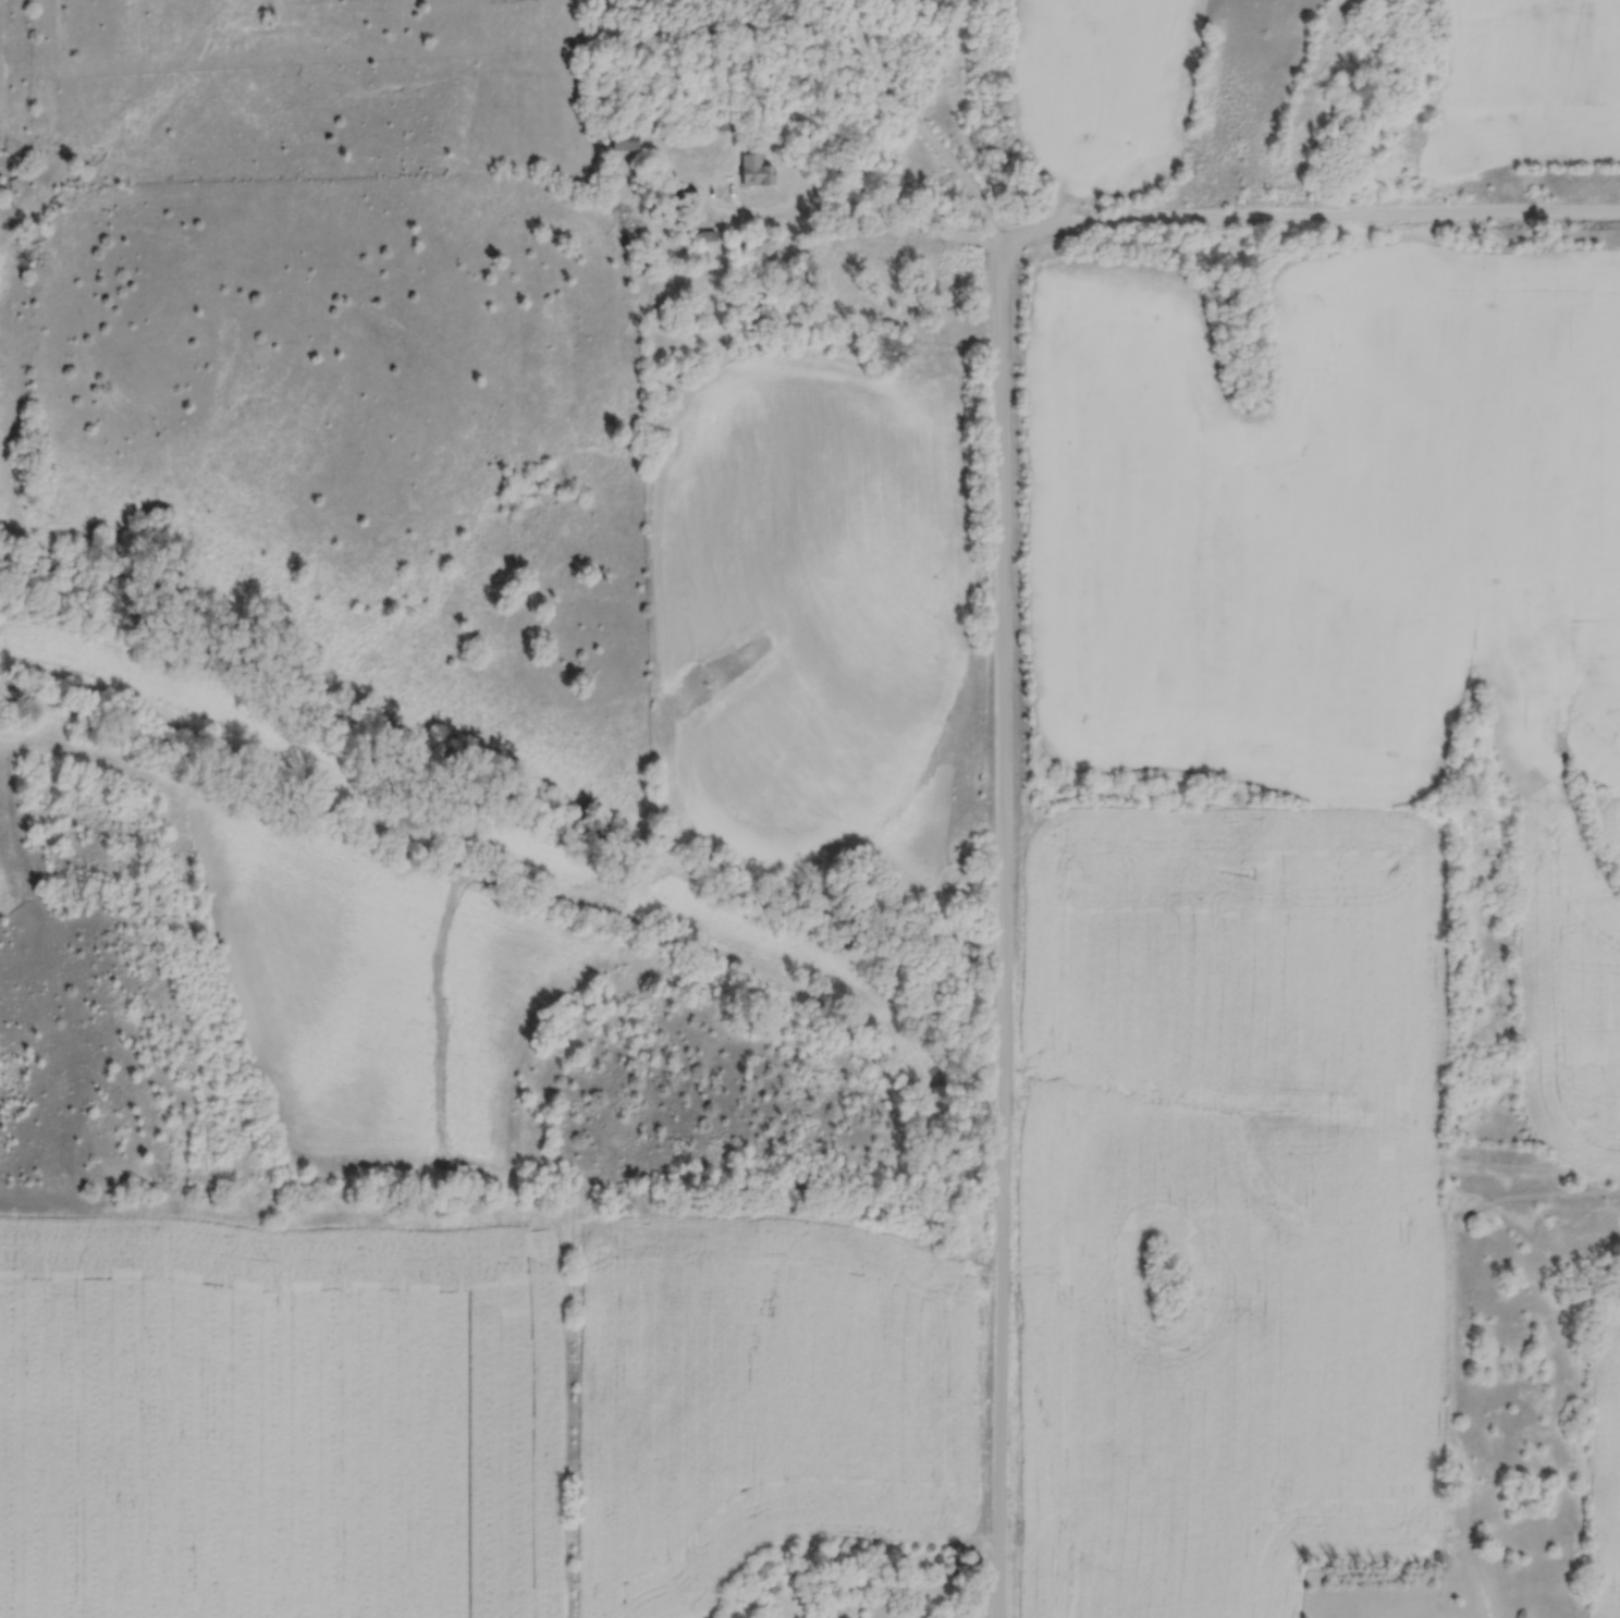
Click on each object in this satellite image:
road: (907, 125)
building: (626, 142)
building: (758, 171)
road: (855, 226)
road: (991, 621)
road: (529, 891)

